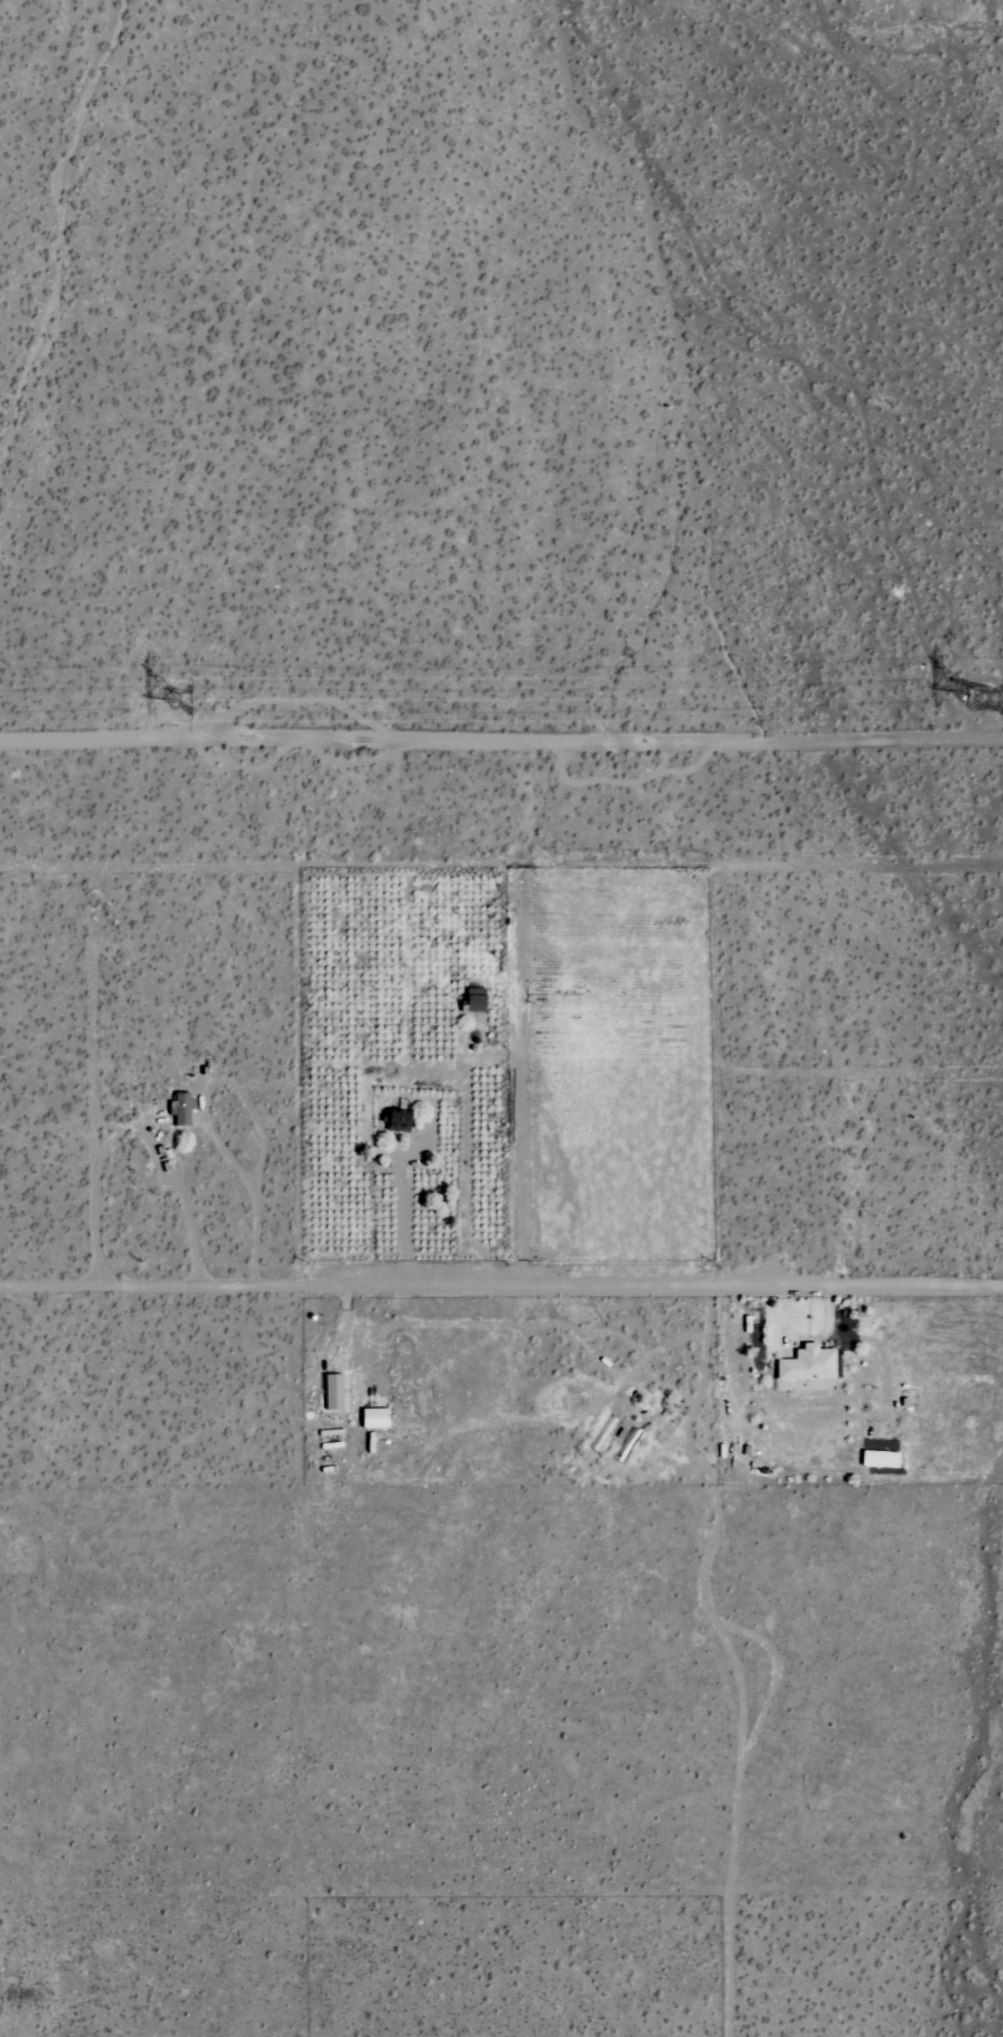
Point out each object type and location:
power tower: (206, 697)
power tower: (993, 700)
road: (501, 742)
building: (472, 1000)
road: (185, 1083)
building: (182, 1108)
building: (393, 1120)
road: (186, 1130)
road: (185, 1198)
road: (402, 1222)
road: (501, 1287)
road: (346, 1311)
road: (556, 1323)
road: (705, 1349)
road: (369, 1359)
building: (805, 1364)
road: (670, 1387)
building: (330, 1392)
building: (371, 1418)
building: (877, 1459)
road: (774, 1673)
road: (741, 1714)

